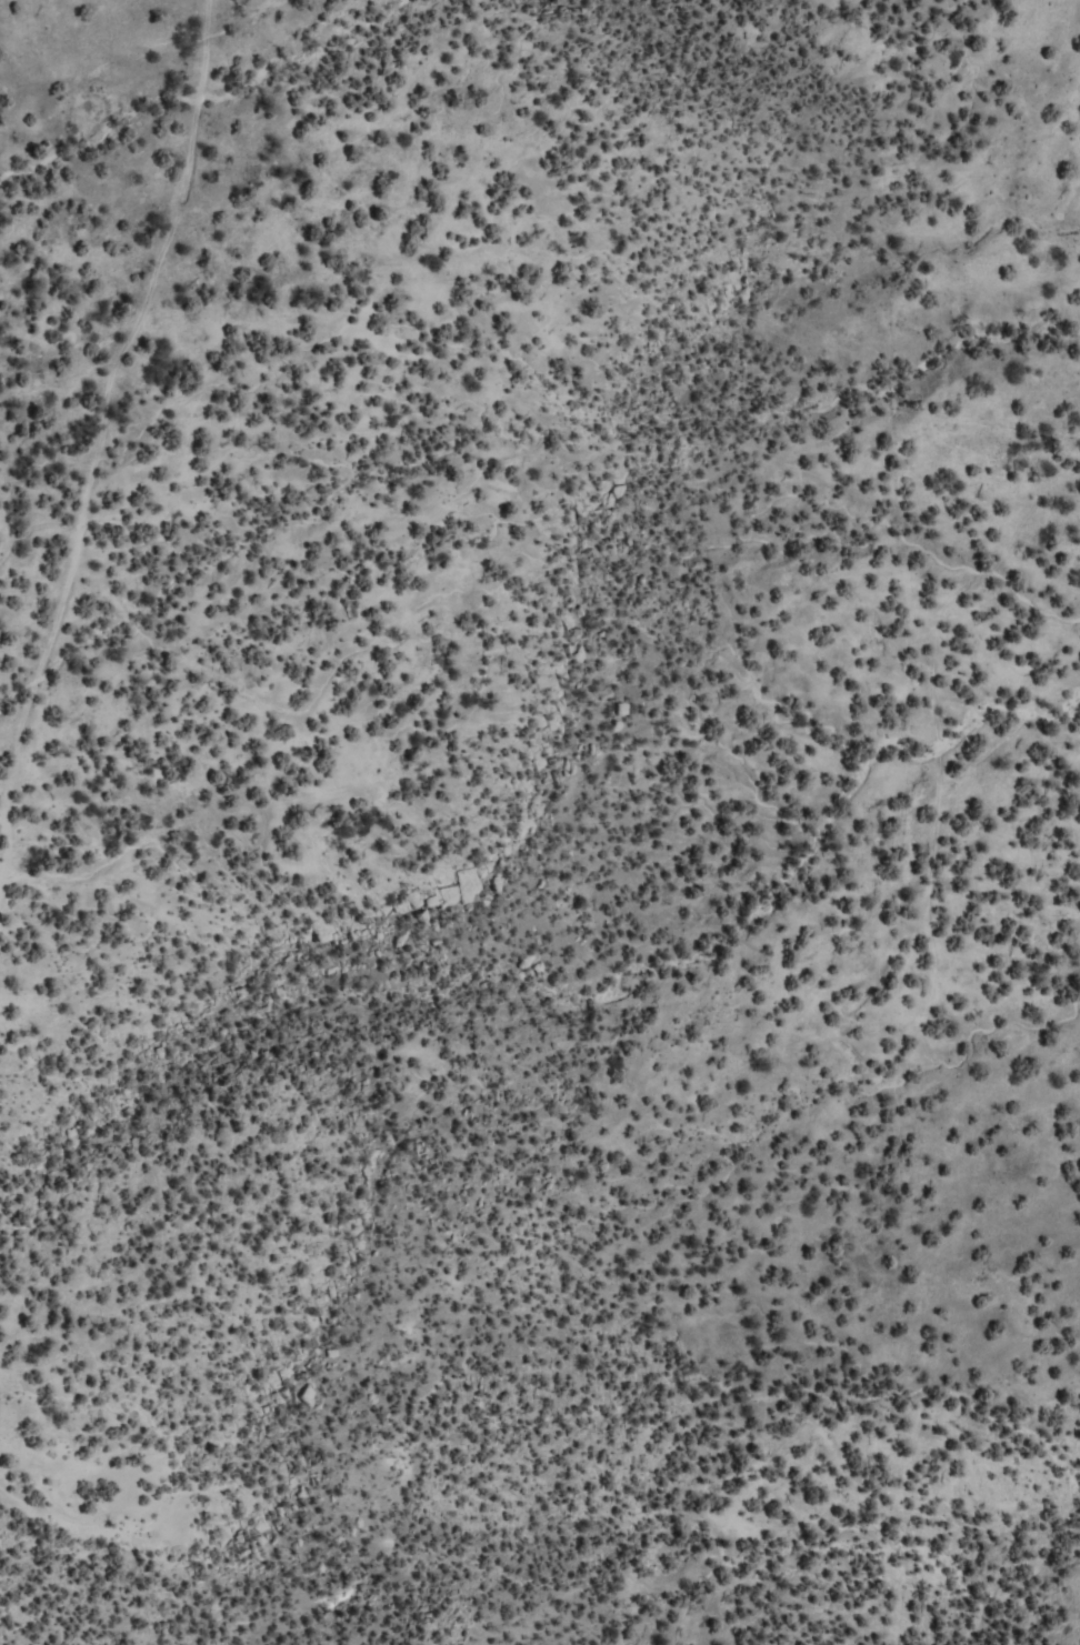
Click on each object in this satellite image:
road: (364, 71)
road: (122, 601)
road: (853, 759)

